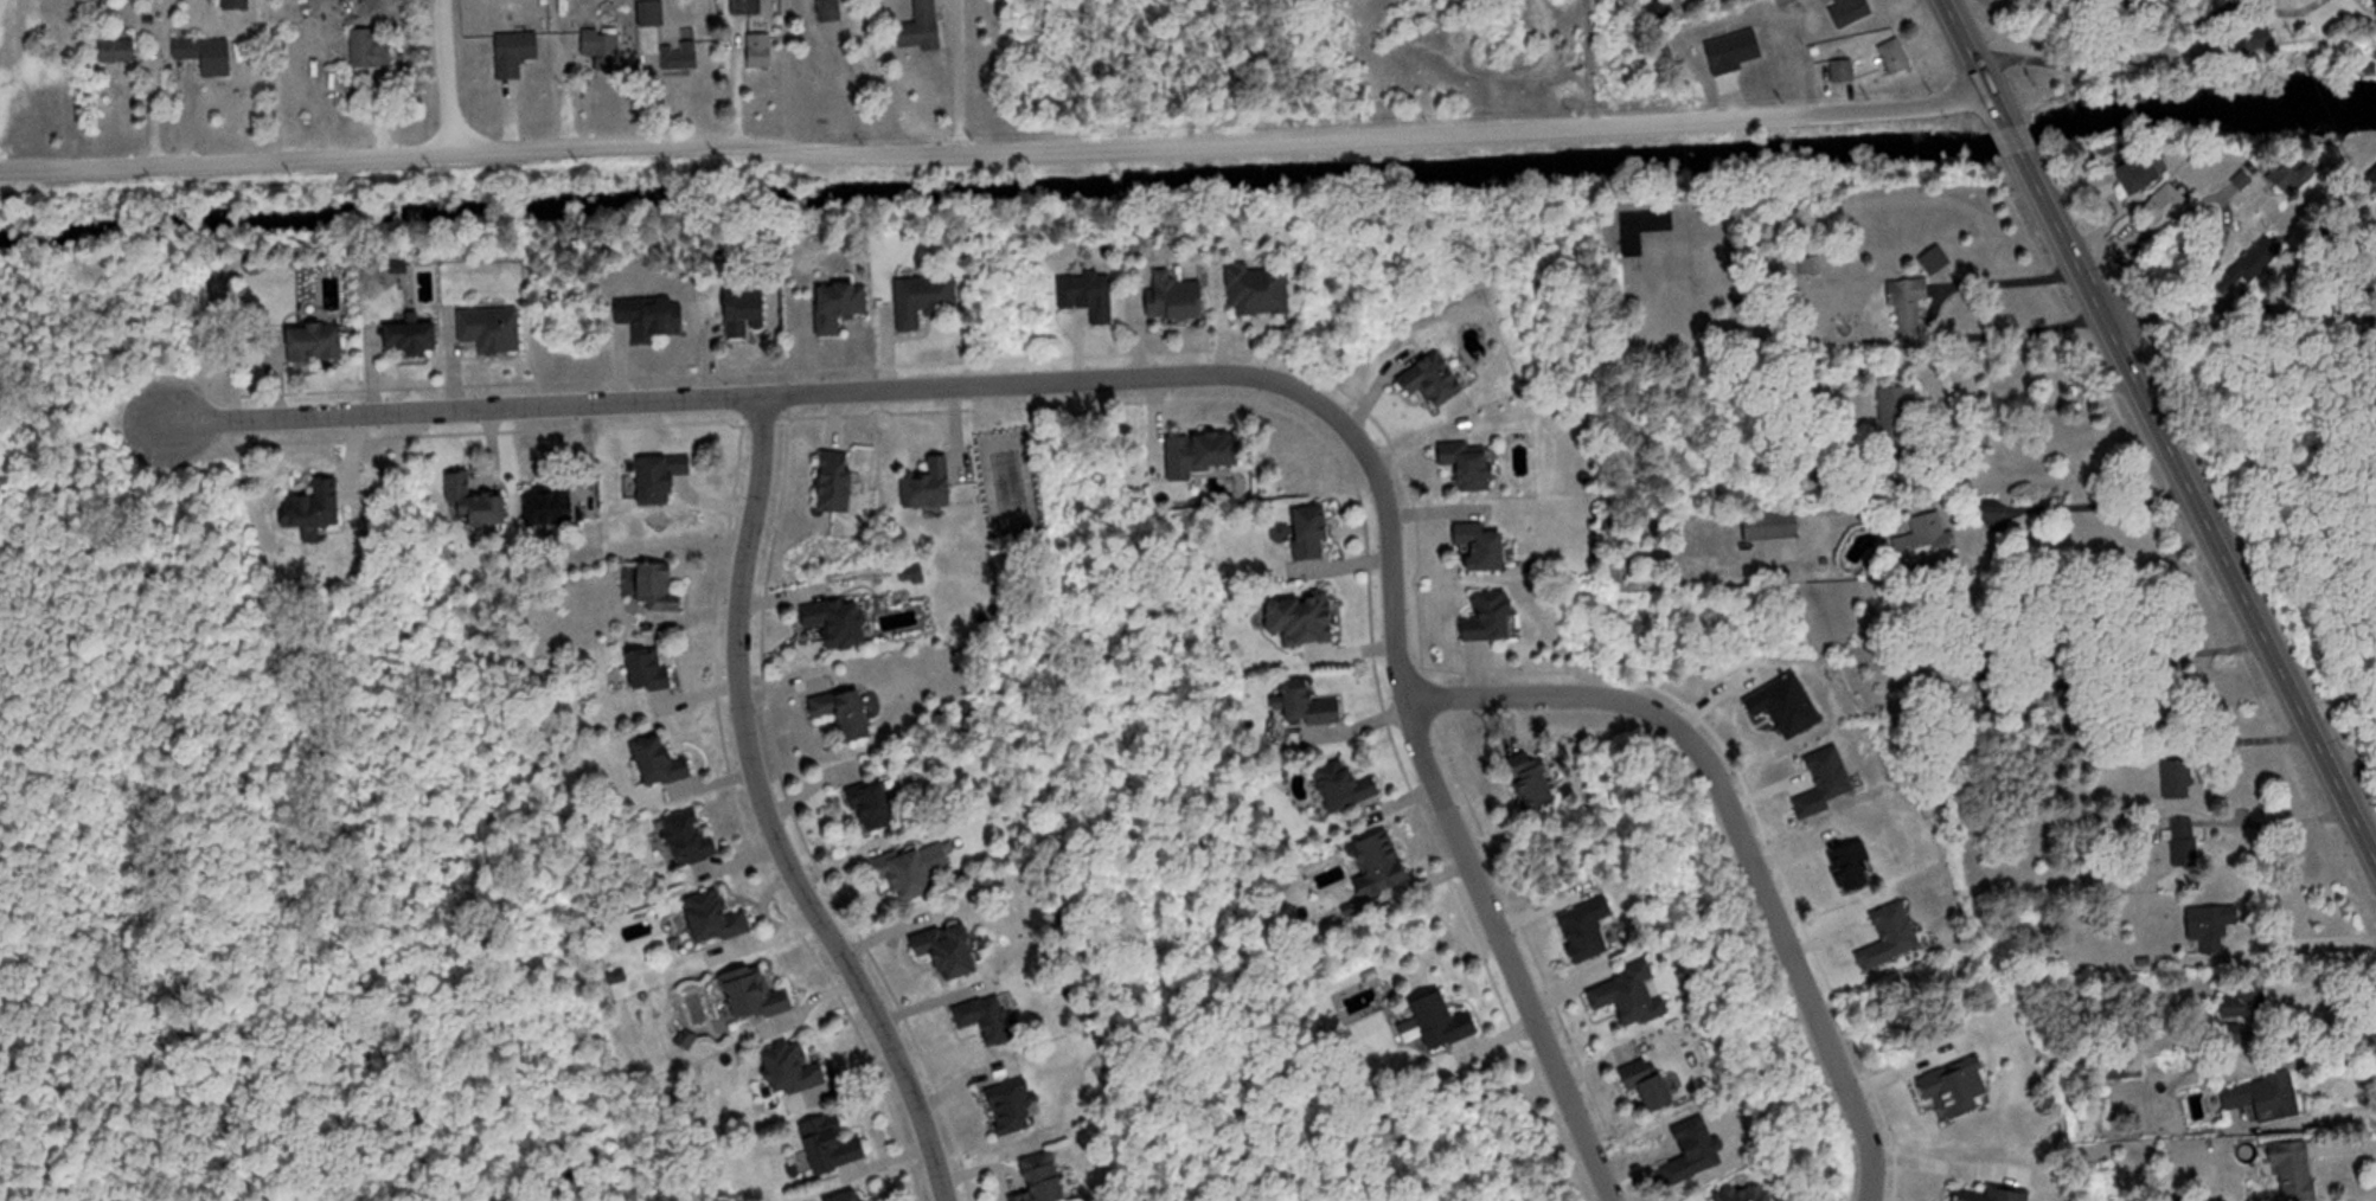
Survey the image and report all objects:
building: (241, 6)
building: (749, 8)
building: (1659, 8)
building: (2370, 12)
building: (831, 13)
building: (655, 17)
building: (923, 28)
road: (2150, 45)
building: (607, 50)
building: (121, 52)
building: (373, 52)
building: (683, 52)
building: (762, 53)
building: (519, 56)
building: (209, 57)
building: (1889, 60)
building: (1839, 73)
road: (446, 78)
road: (959, 78)
road: (994, 154)
building: (2132, 176)
building: (2282, 181)
building: (2159, 208)
building: (1638, 230)
building: (1932, 262)
building: (1805, 269)
building: (1263, 293)
building: (1180, 300)
building: (929, 302)
building: (845, 309)
road: (2239, 309)
building: (1904, 312)
building: (750, 313)
building: (658, 319)
building: (498, 332)
building: (418, 341)
building: (320, 346)
building: (1441, 381)
road: (444, 405)
building: (1893, 415)
road: (2159, 429)
building: (1212, 455)
building: (1475, 467)
building: (666, 480)
building: (843, 483)
building: (937, 484)
building: (556, 506)
building: (488, 512)
building: (318, 513)
road: (1388, 518)
building: (1769, 527)
building: (1317, 535)
building: (1920, 544)
building: (1492, 548)
building: (665, 589)
building: (1497, 619)
building: (1312, 621)
building: (847, 623)
building: (657, 670)
building: (1319, 705)
building: (851, 712)
building: (668, 763)
building: (1543, 782)
building: (2175, 782)
building: (1352, 786)
road: (763, 804)
building: (883, 805)
road: (1736, 830)
building: (693, 839)
building: (2180, 844)
building: (1382, 866)
building: (912, 878)
building: (719, 919)
building: (2205, 930)
building: (1592, 931)
building: (959, 951)
building: (761, 995)
building: (1635, 997)
building: (2237, 1004)
building: (992, 1019)
building: (1447, 1023)
building: (800, 1070)
building: (1654, 1085)
building: (2260, 1100)
building: (1017, 1106)
road: (2311, 1112)
building: (837, 1145)
building: (2288, 1170)
building: (1049, 1178)
building: (1750, 1195)
building: (1990, 1196)
building: (859, 1197)
building: (880, 1200)

